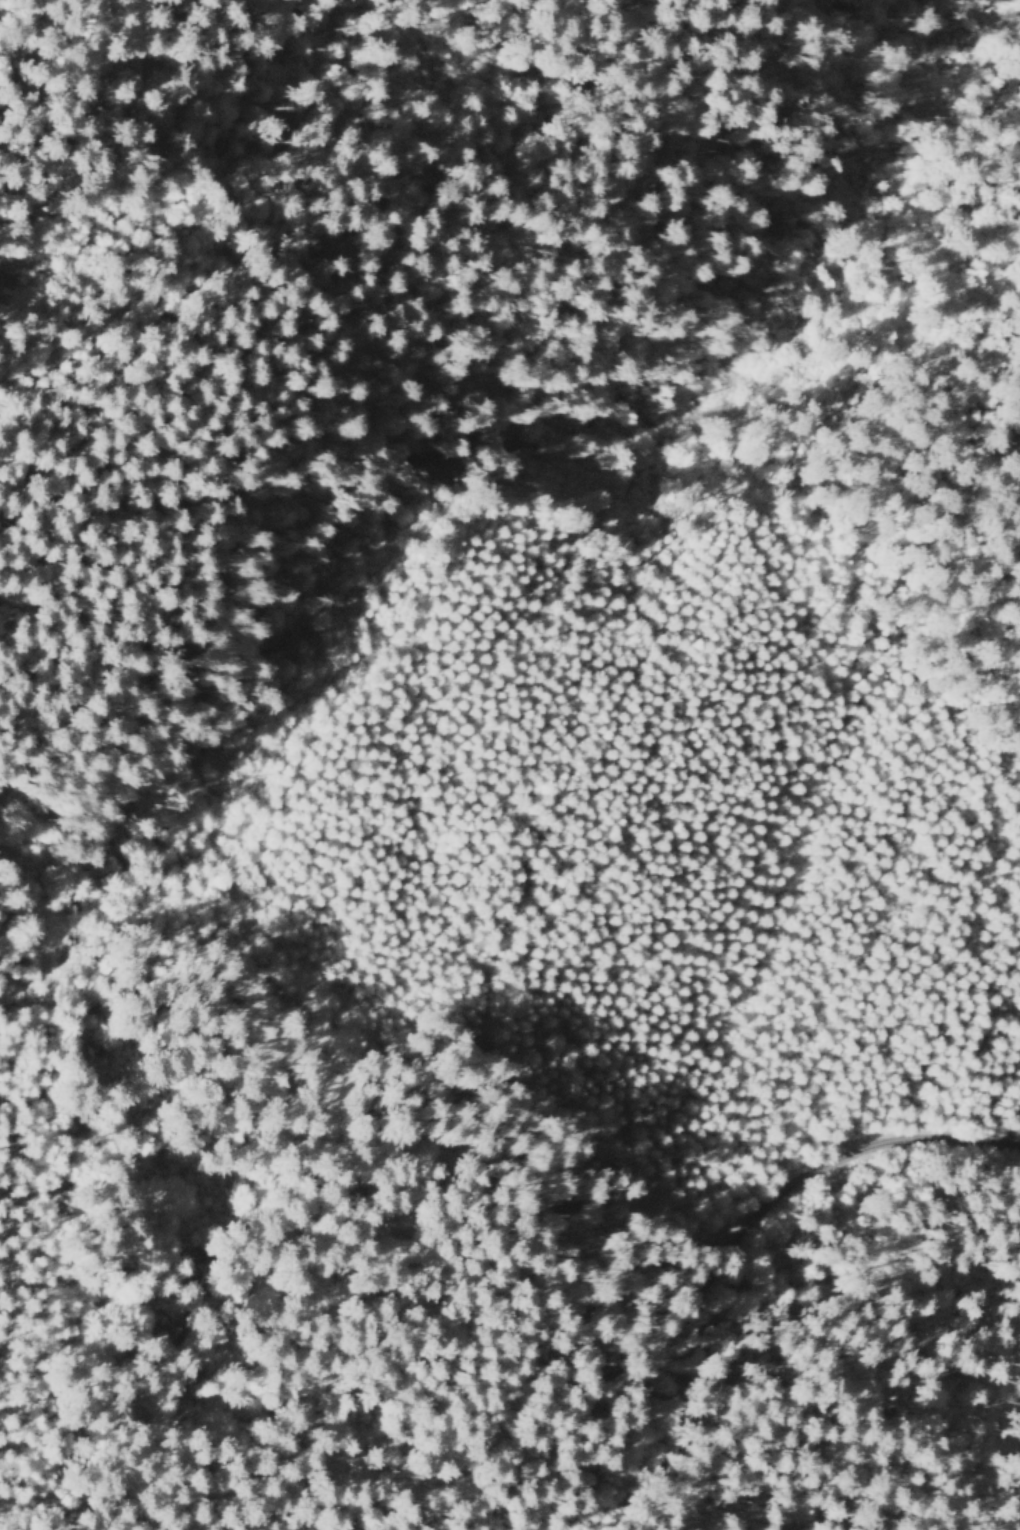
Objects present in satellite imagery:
road: (193, 298)
road: (667, 1254)

